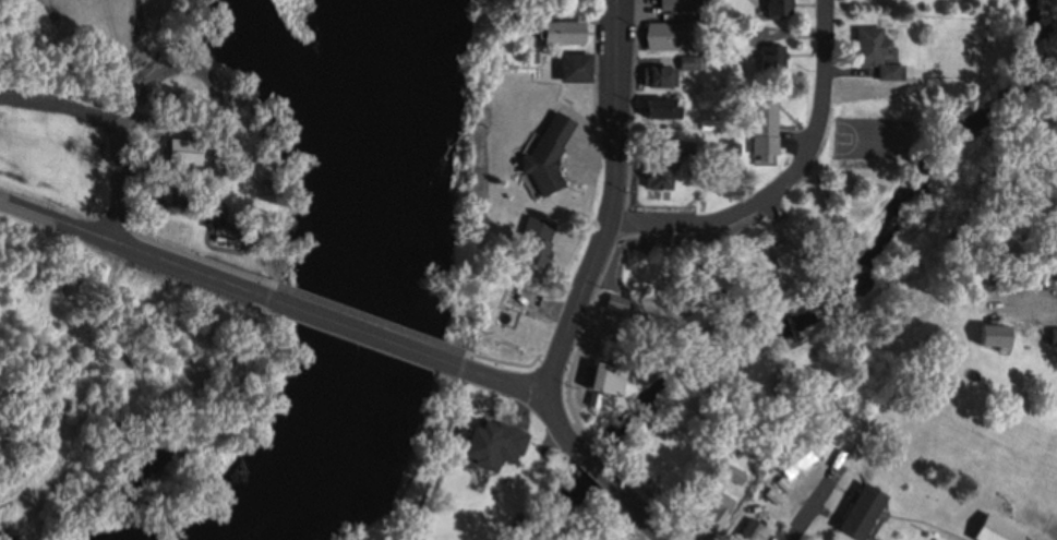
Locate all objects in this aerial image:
building: (688, 4)
building: (778, 8)
building: (561, 32)
building: (736, 34)
building: (666, 35)
building: (868, 44)
building: (770, 56)
building: (690, 61)
building: (573, 67)
building: (889, 71)
building: (656, 76)
road: (217, 89)
road: (64, 104)
building: (660, 108)
river: (308, 122)
building: (762, 130)
park: (876, 136)
building: (728, 148)
building: (184, 151)
building: (544, 154)
park: (158, 156)
building: (145, 173)
building: (654, 173)
road: (125, 175)
road: (783, 178)
building: (271, 181)
road: (612, 197)
road: (136, 241)
building: (788, 241)
building: (533, 245)
river: (358, 290)
building: (618, 299)
road: (1055, 304)
road: (368, 325)
building: (989, 335)
building: (1053, 337)
building: (610, 376)
road: (570, 437)
building: (477, 447)
building: (520, 455)
building: (794, 459)
building: (736, 472)
building: (714, 502)
road: (814, 502)
building: (858, 511)
building: (994, 529)
building: (753, 531)

